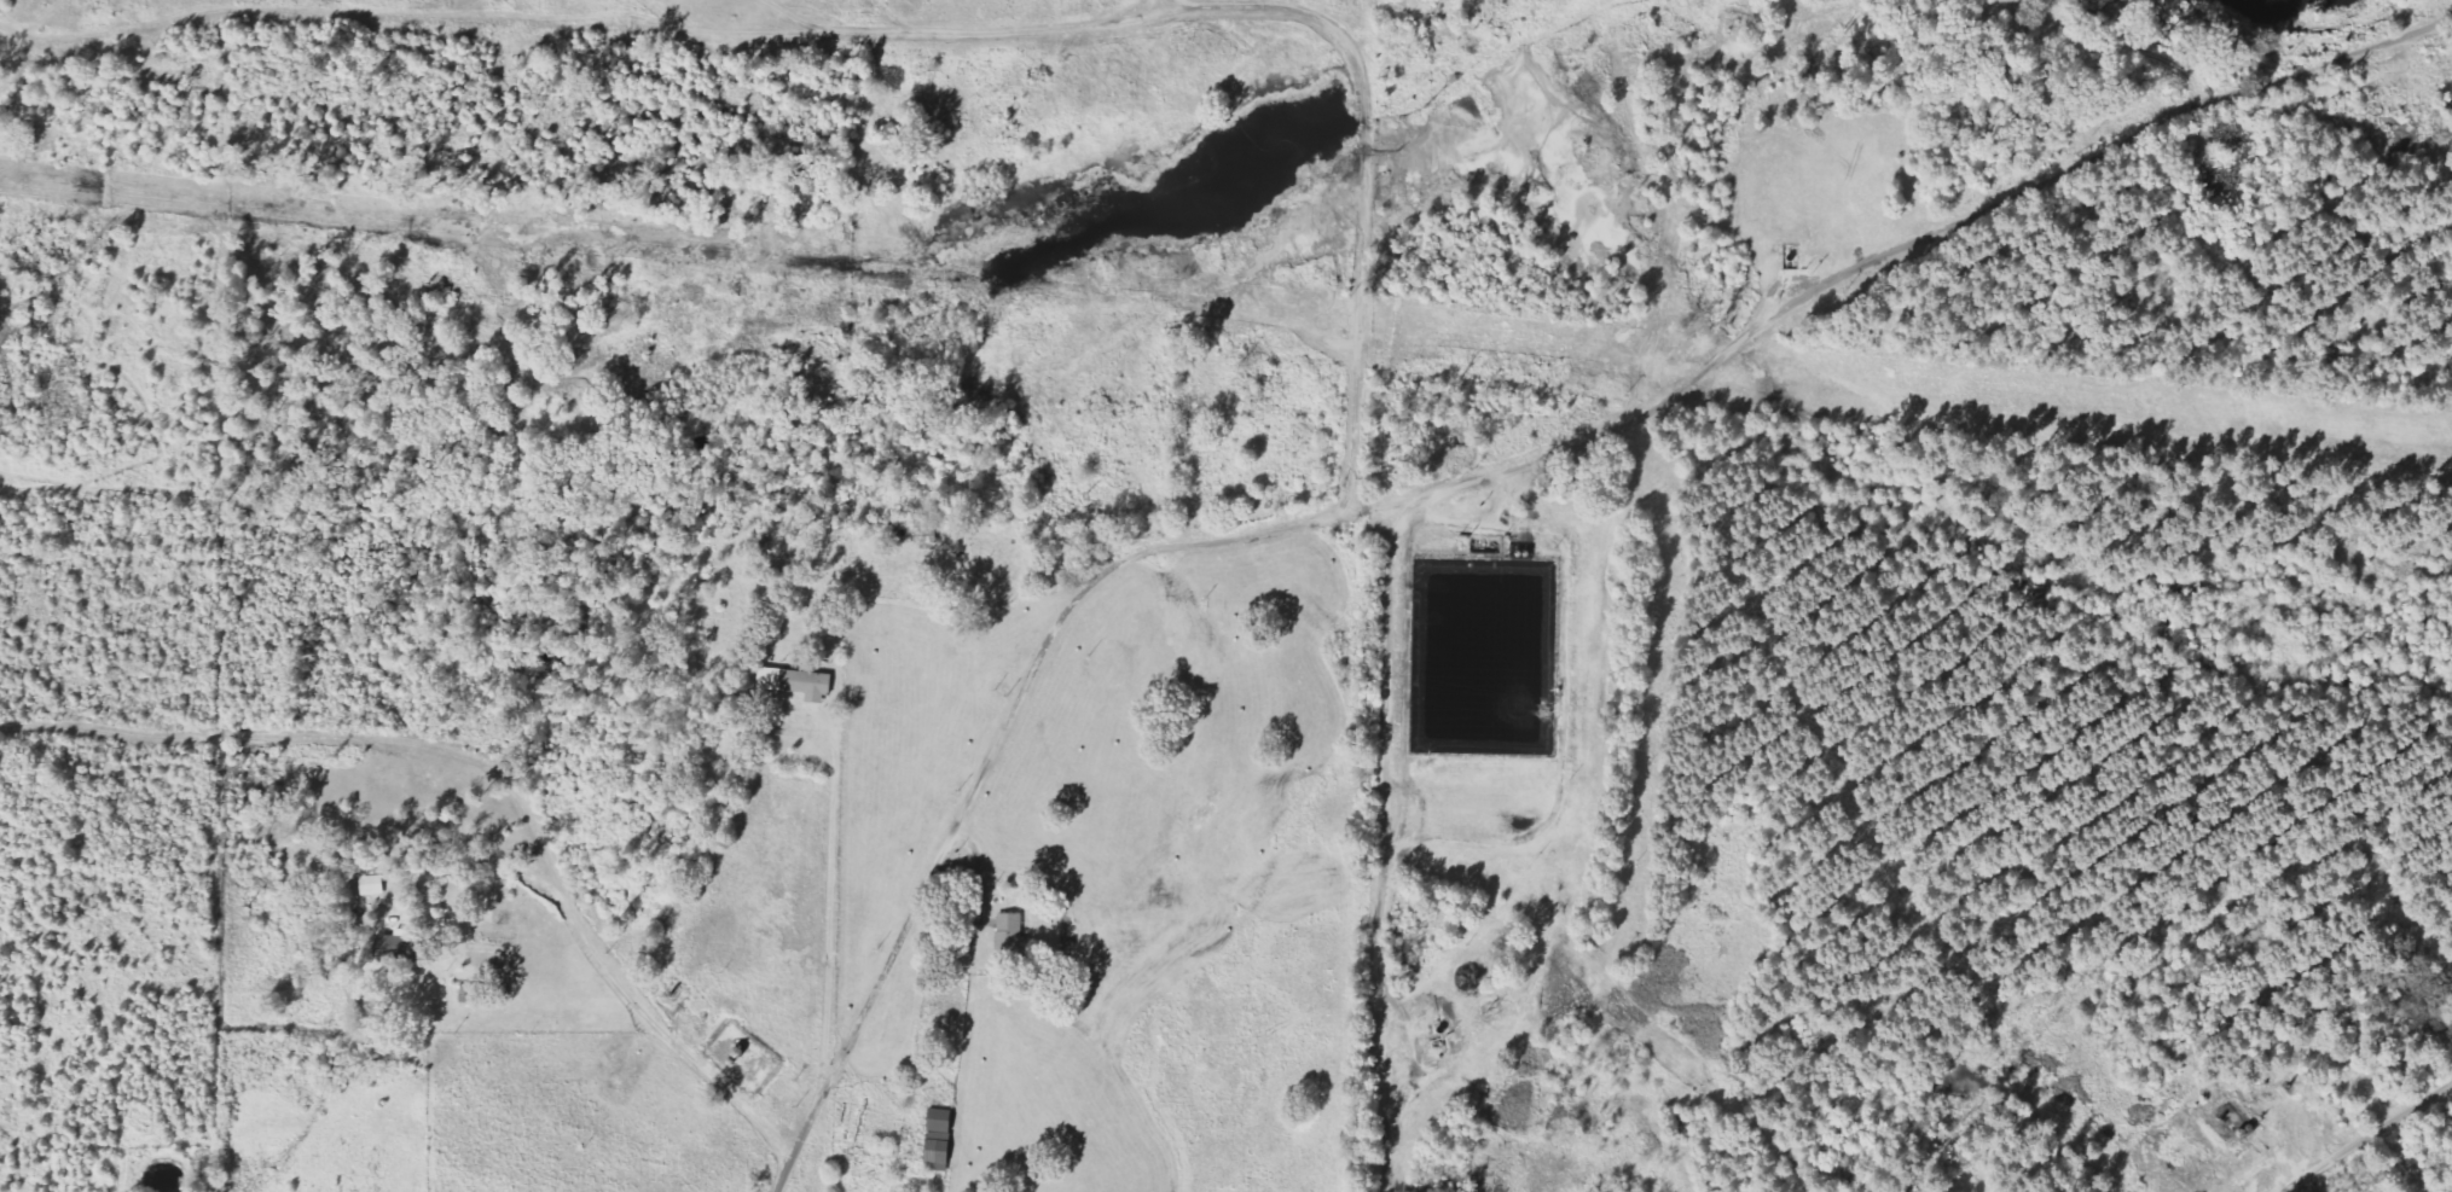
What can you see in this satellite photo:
road: (1561, 545)
building: (794, 684)
road: (987, 761)
road: (1380, 838)
building: (372, 888)
building: (1009, 932)
road: (2369, 1136)
building: (937, 1138)

